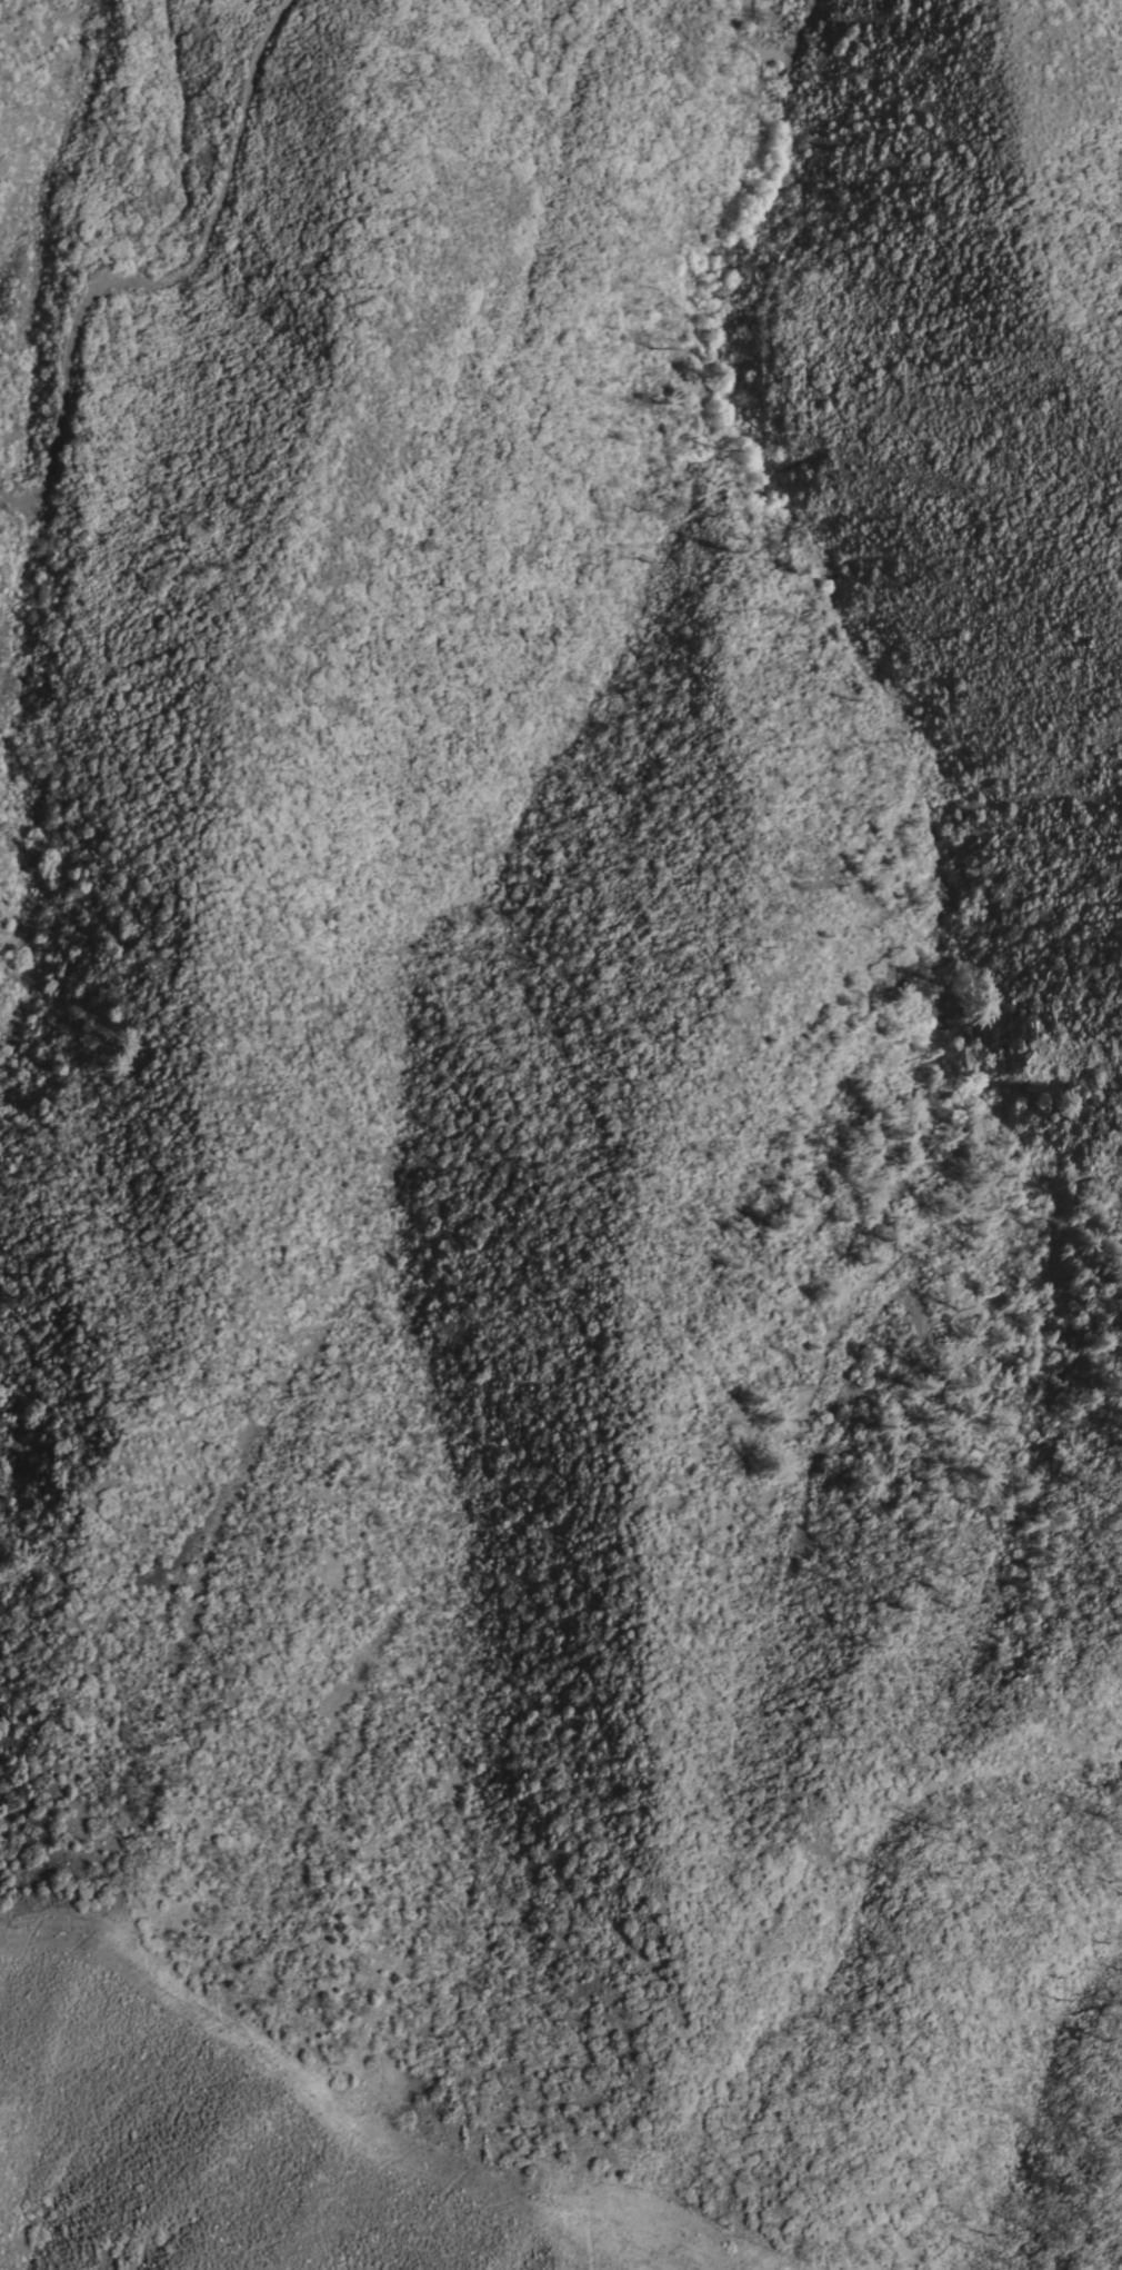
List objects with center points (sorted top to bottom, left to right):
road: (777, 52)
road: (154, 283)
road: (471, 1734)

